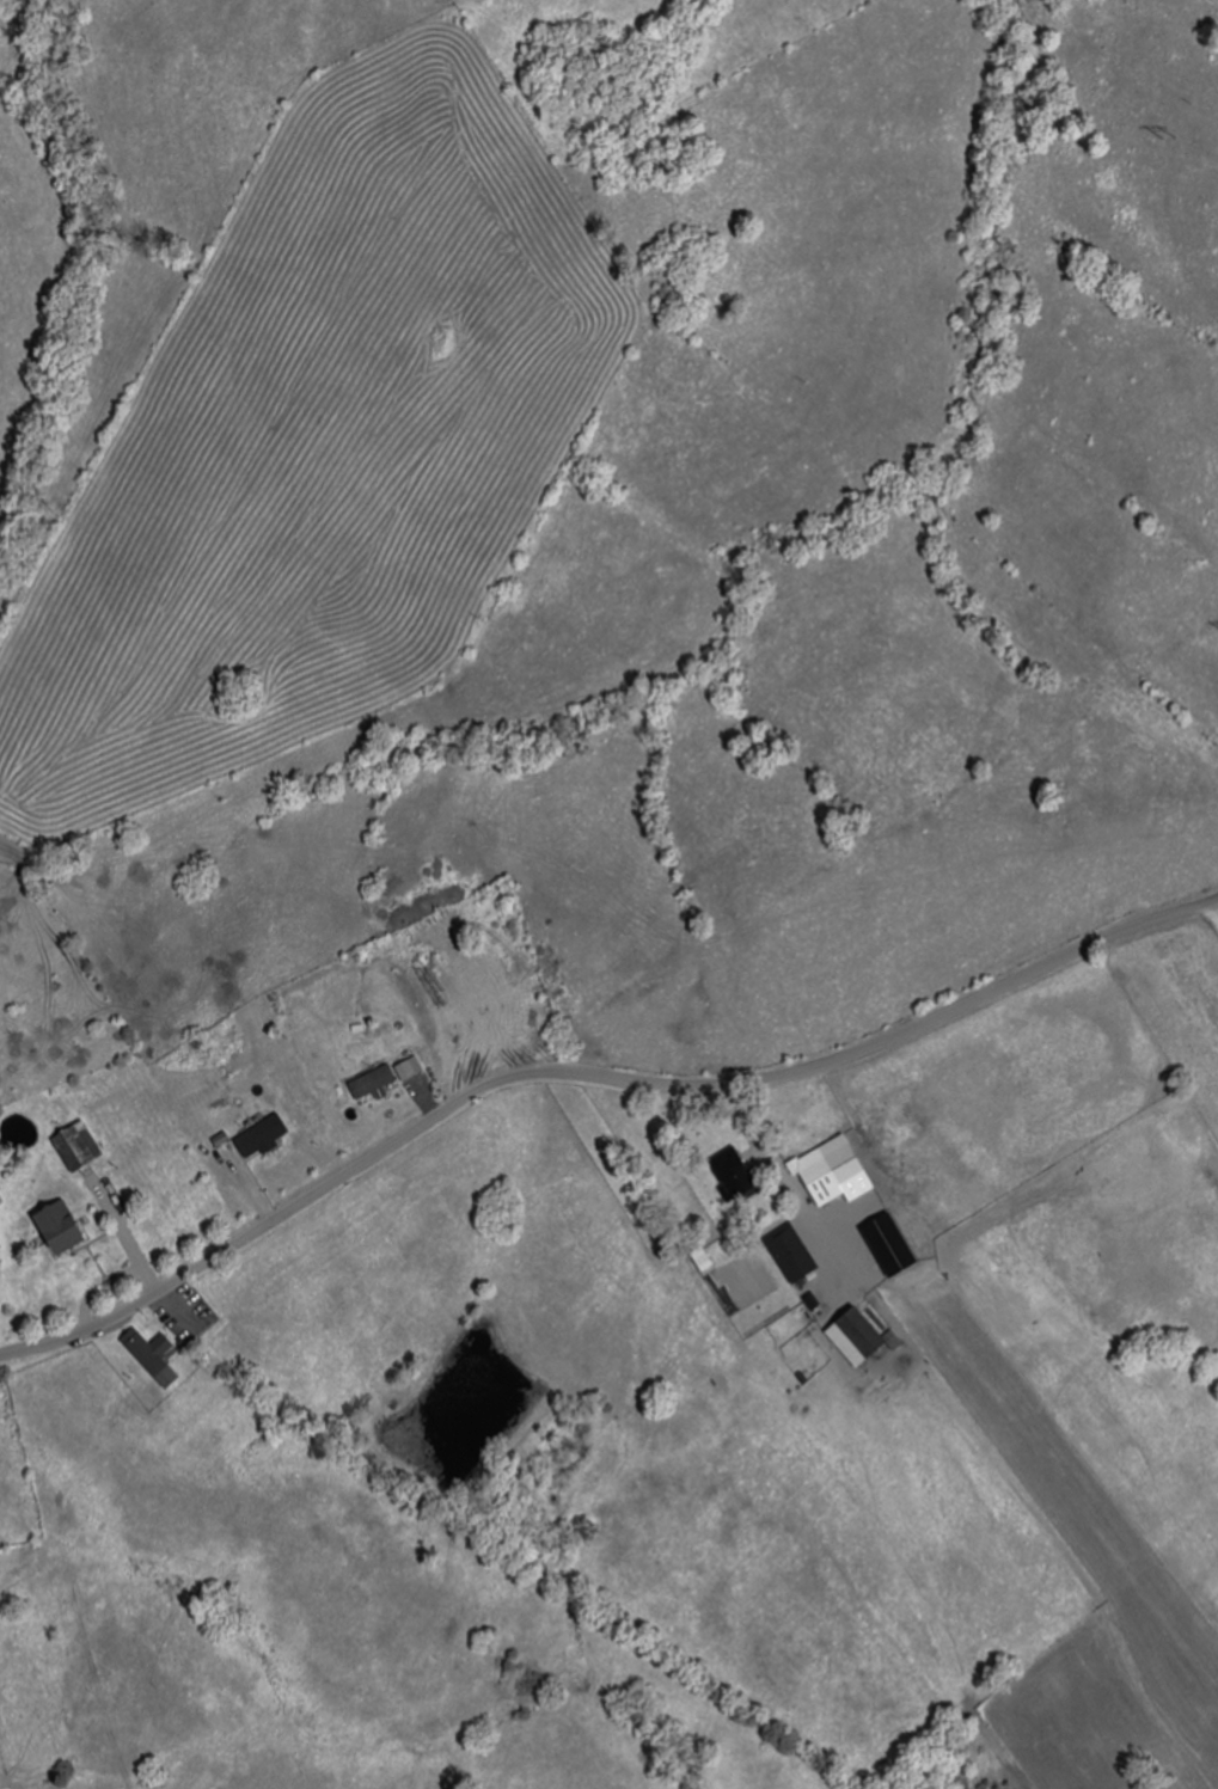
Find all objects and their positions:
road: (590, 1074)
building: (375, 1082)
building: (265, 1138)
building: (80, 1147)
building: (732, 1165)
building: (832, 1168)
building: (65, 1226)
building: (794, 1254)
building: (861, 1337)
building: (153, 1350)
road: (906, 1474)

